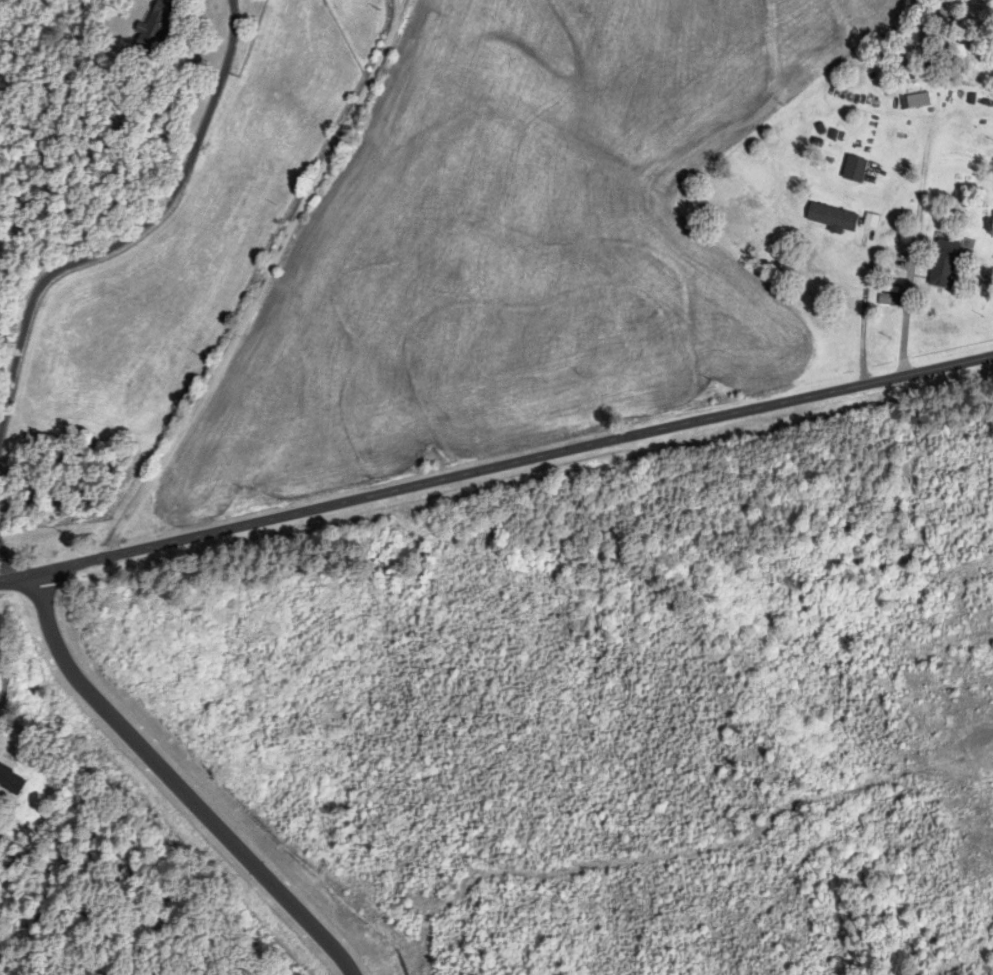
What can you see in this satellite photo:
road: (400, 6)
building: (153, 29)
building: (915, 101)
building: (854, 169)
building: (832, 218)
road: (128, 237)
building: (943, 264)
road: (265, 281)
road: (864, 310)
road: (906, 314)
road: (496, 466)
road: (6, 554)
building: (11, 780)
road: (176, 784)

